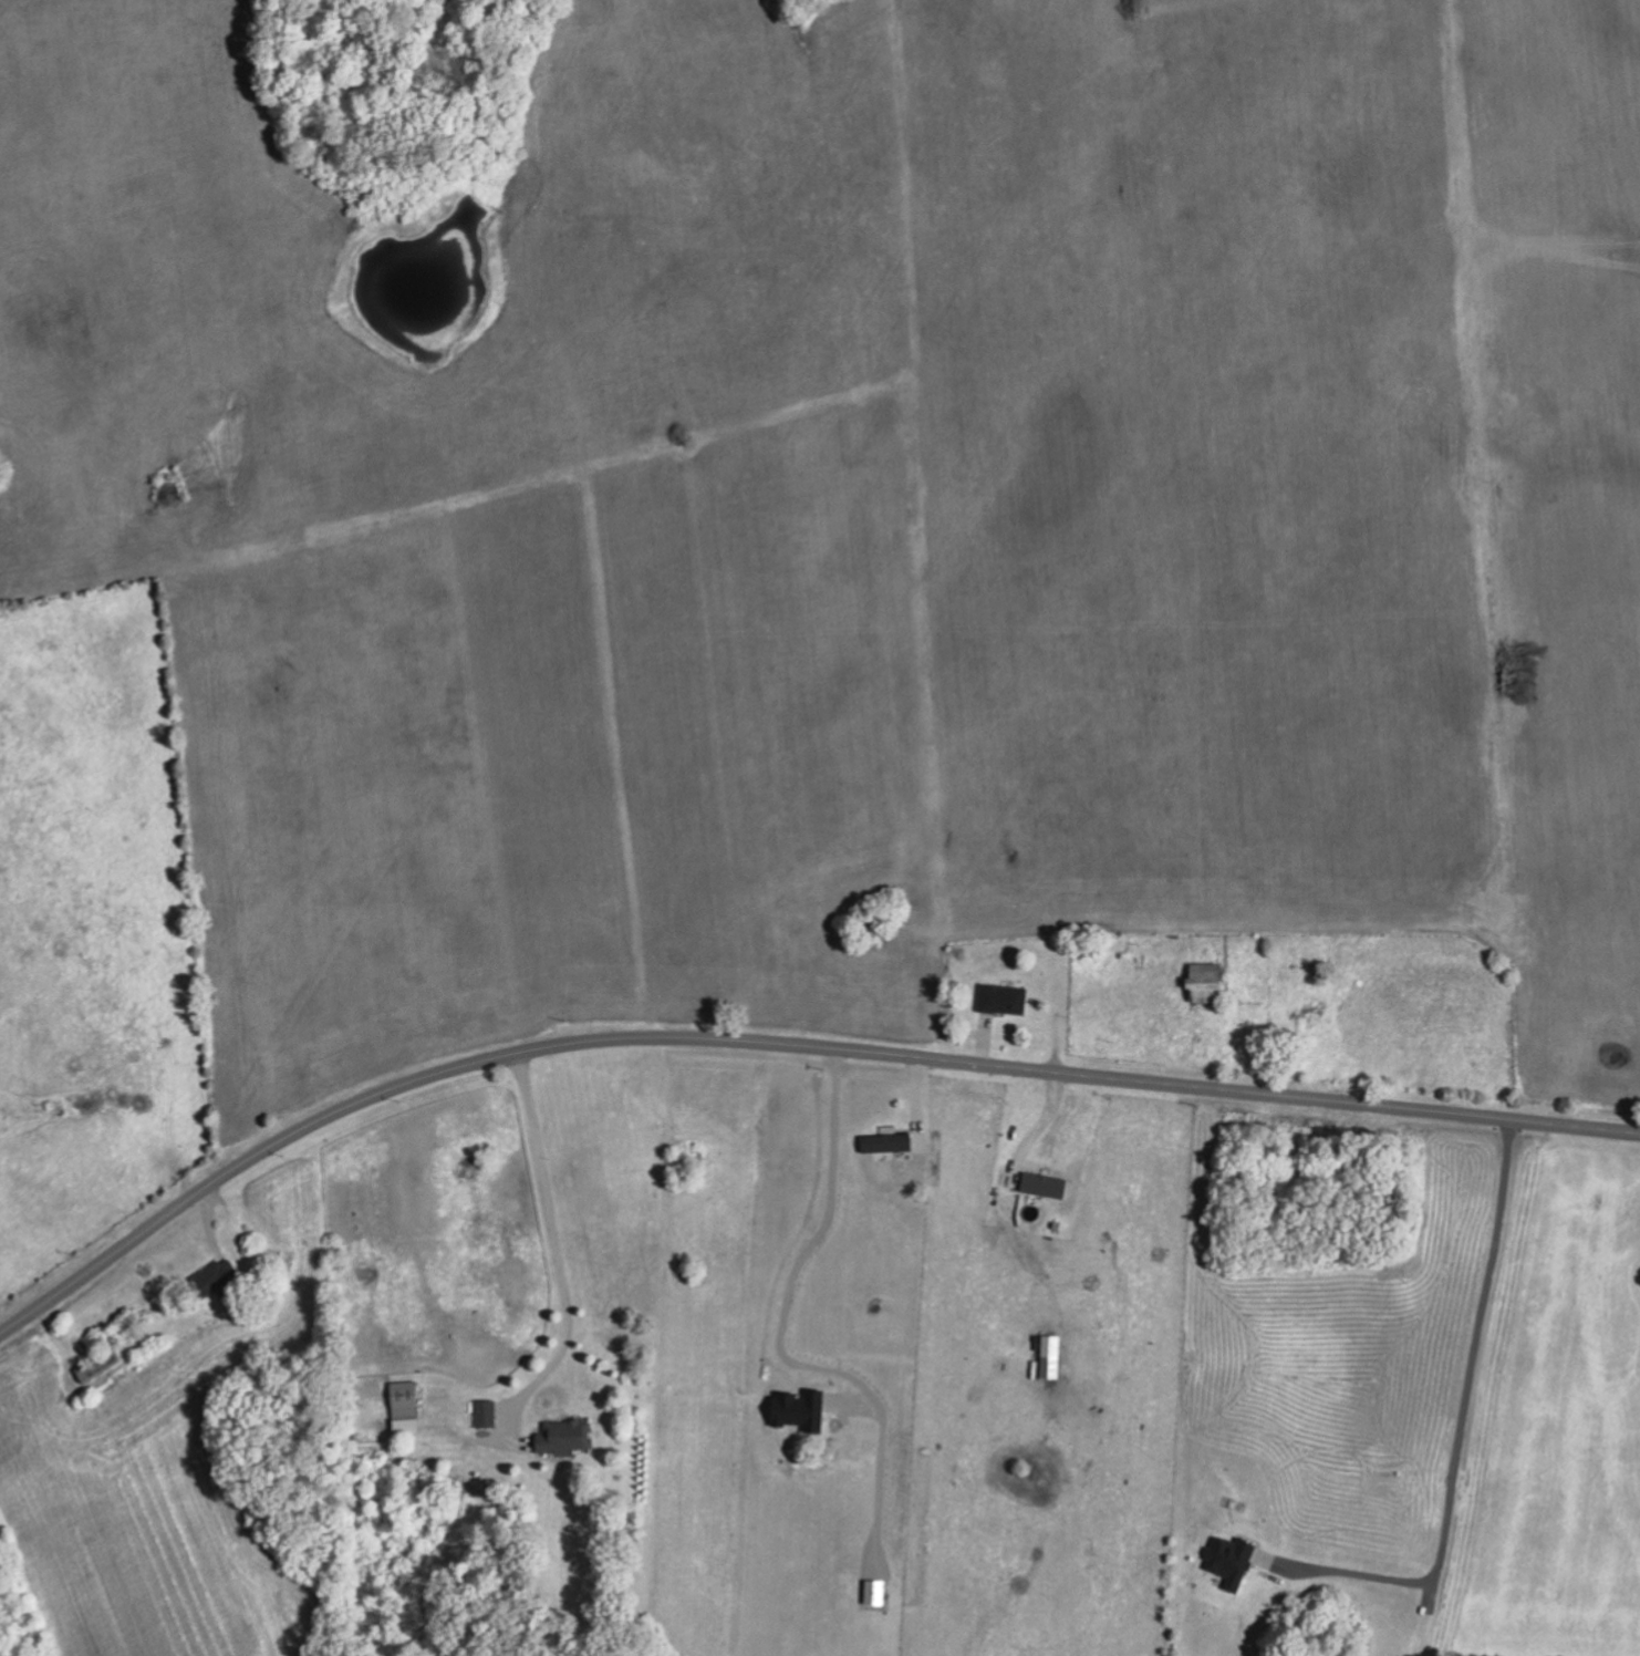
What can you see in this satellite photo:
building: (1206, 983)
building: (1001, 1000)
road: (783, 1047)
building: (886, 1143)
road: (822, 1231)
road: (558, 1260)
building: (215, 1277)
building: (1048, 1355)
building: (96, 1366)
building: (405, 1408)
building: (485, 1414)
road: (1460, 1430)
building: (563, 1438)
building: (1229, 1562)

